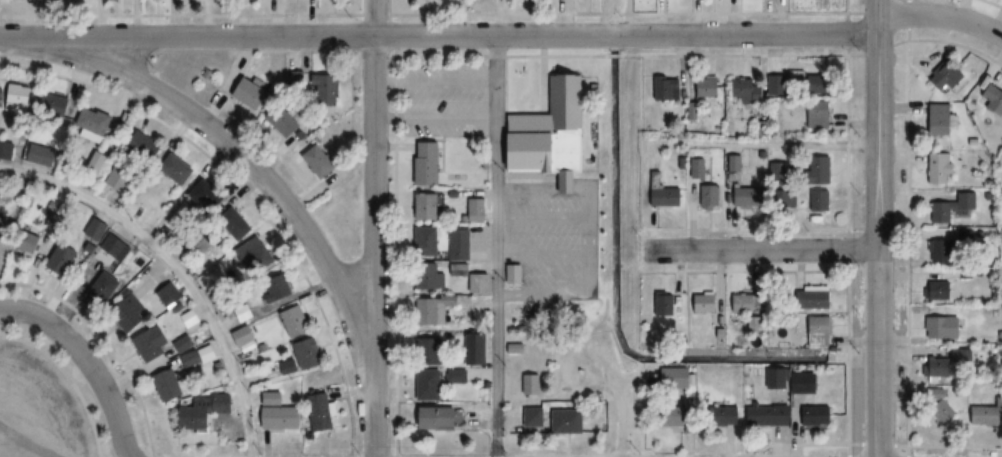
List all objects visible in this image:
road: (941, 15)
road: (439, 36)
building: (941, 77)
building: (820, 83)
building: (327, 88)
building: (667, 88)
building: (708, 88)
building: (780, 90)
building: (748, 91)
building: (251, 93)
building: (20, 99)
building: (988, 100)
building: (56, 106)
building: (820, 116)
building: (934, 120)
building: (284, 122)
building: (94, 125)
building: (549, 134)
road: (762, 145)
building: (145, 146)
building: (6, 150)
road: (239, 155)
building: (98, 161)
building: (320, 161)
building: (429, 162)
building: (178, 168)
building: (936, 168)
building: (824, 170)
building: (780, 171)
building: (663, 192)
building: (711, 195)
building: (209, 196)
building: (750, 196)
building: (787, 197)
building: (821, 200)
building: (427, 207)
building: (949, 207)
building: (478, 209)
building: (52, 222)
building: (236, 224)
building: (95, 228)
road: (372, 228)
road: (879, 228)
building: (427, 238)
building: (29, 242)
building: (460, 244)
building: (116, 246)
road: (497, 246)
road: (760, 249)
building: (936, 251)
building: (257, 256)
building: (63, 258)
road: (175, 268)
building: (514, 274)
building: (473, 278)
building: (433, 279)
building: (105, 288)
building: (933, 291)
building: (169, 295)
building: (807, 297)
building: (736, 302)
building: (699, 303)
building: (661, 304)
building: (440, 310)
building: (129, 311)
building: (190, 317)
building: (297, 321)
building: (937, 327)
building: (813, 330)
building: (243, 336)
building: (152, 344)
building: (183, 344)
building: (474, 348)
building: (430, 349)
building: (310, 353)
building: (192, 359)
road: (87, 360)
building: (938, 363)
building: (289, 366)
building: (457, 376)
road: (69, 379)
building: (797, 383)
building: (527, 384)
building: (168, 385)
building: (431, 386)
building: (204, 410)
building: (939, 411)
building: (280, 413)
building: (323, 413)
building: (809, 415)
building: (761, 416)
building: (981, 416)
building: (527, 417)
building: (667, 417)
building: (716, 417)
building: (439, 418)
road: (619, 419)
building: (560, 421)
road: (101, 455)

